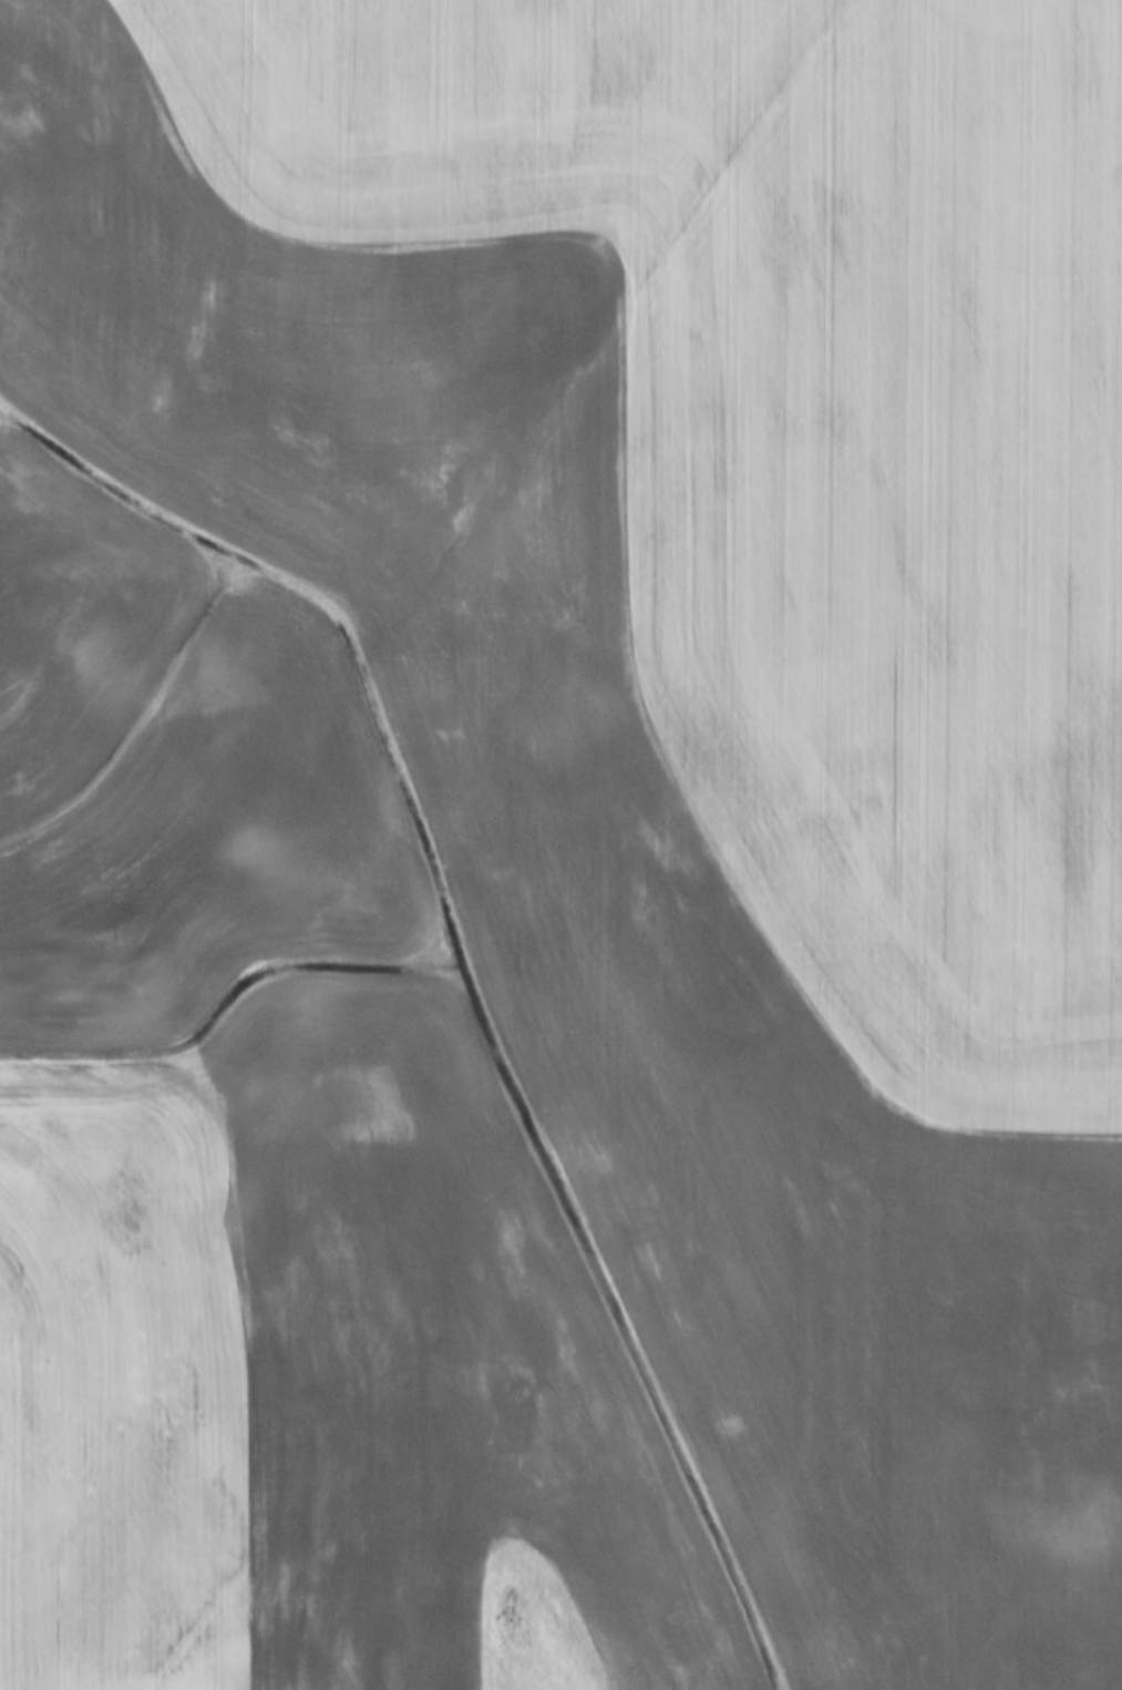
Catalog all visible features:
road: (476, 967)

